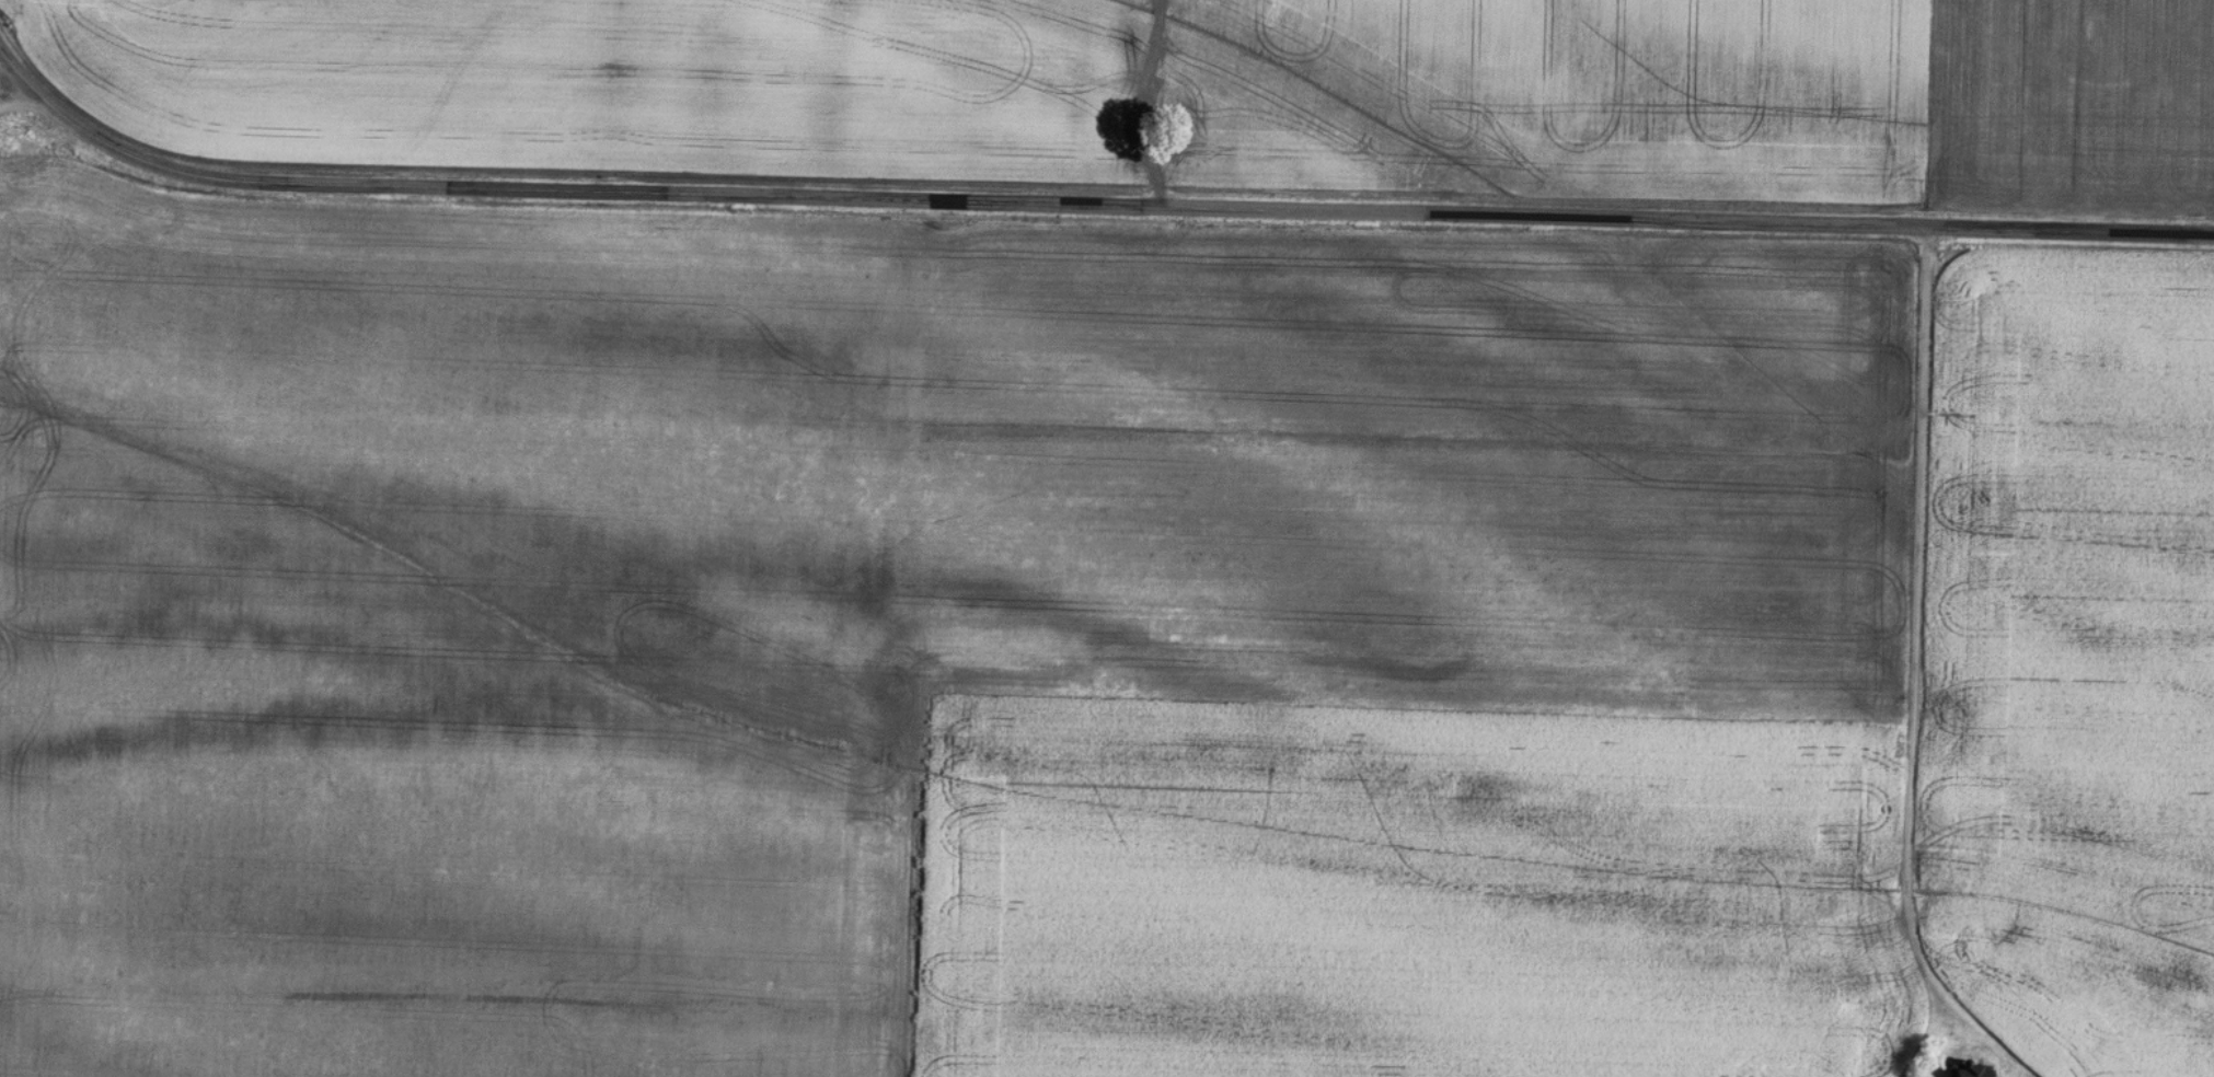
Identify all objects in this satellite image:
road: (12, 88)
road: (1083, 201)
road: (1914, 656)
building: (1964, 1070)

